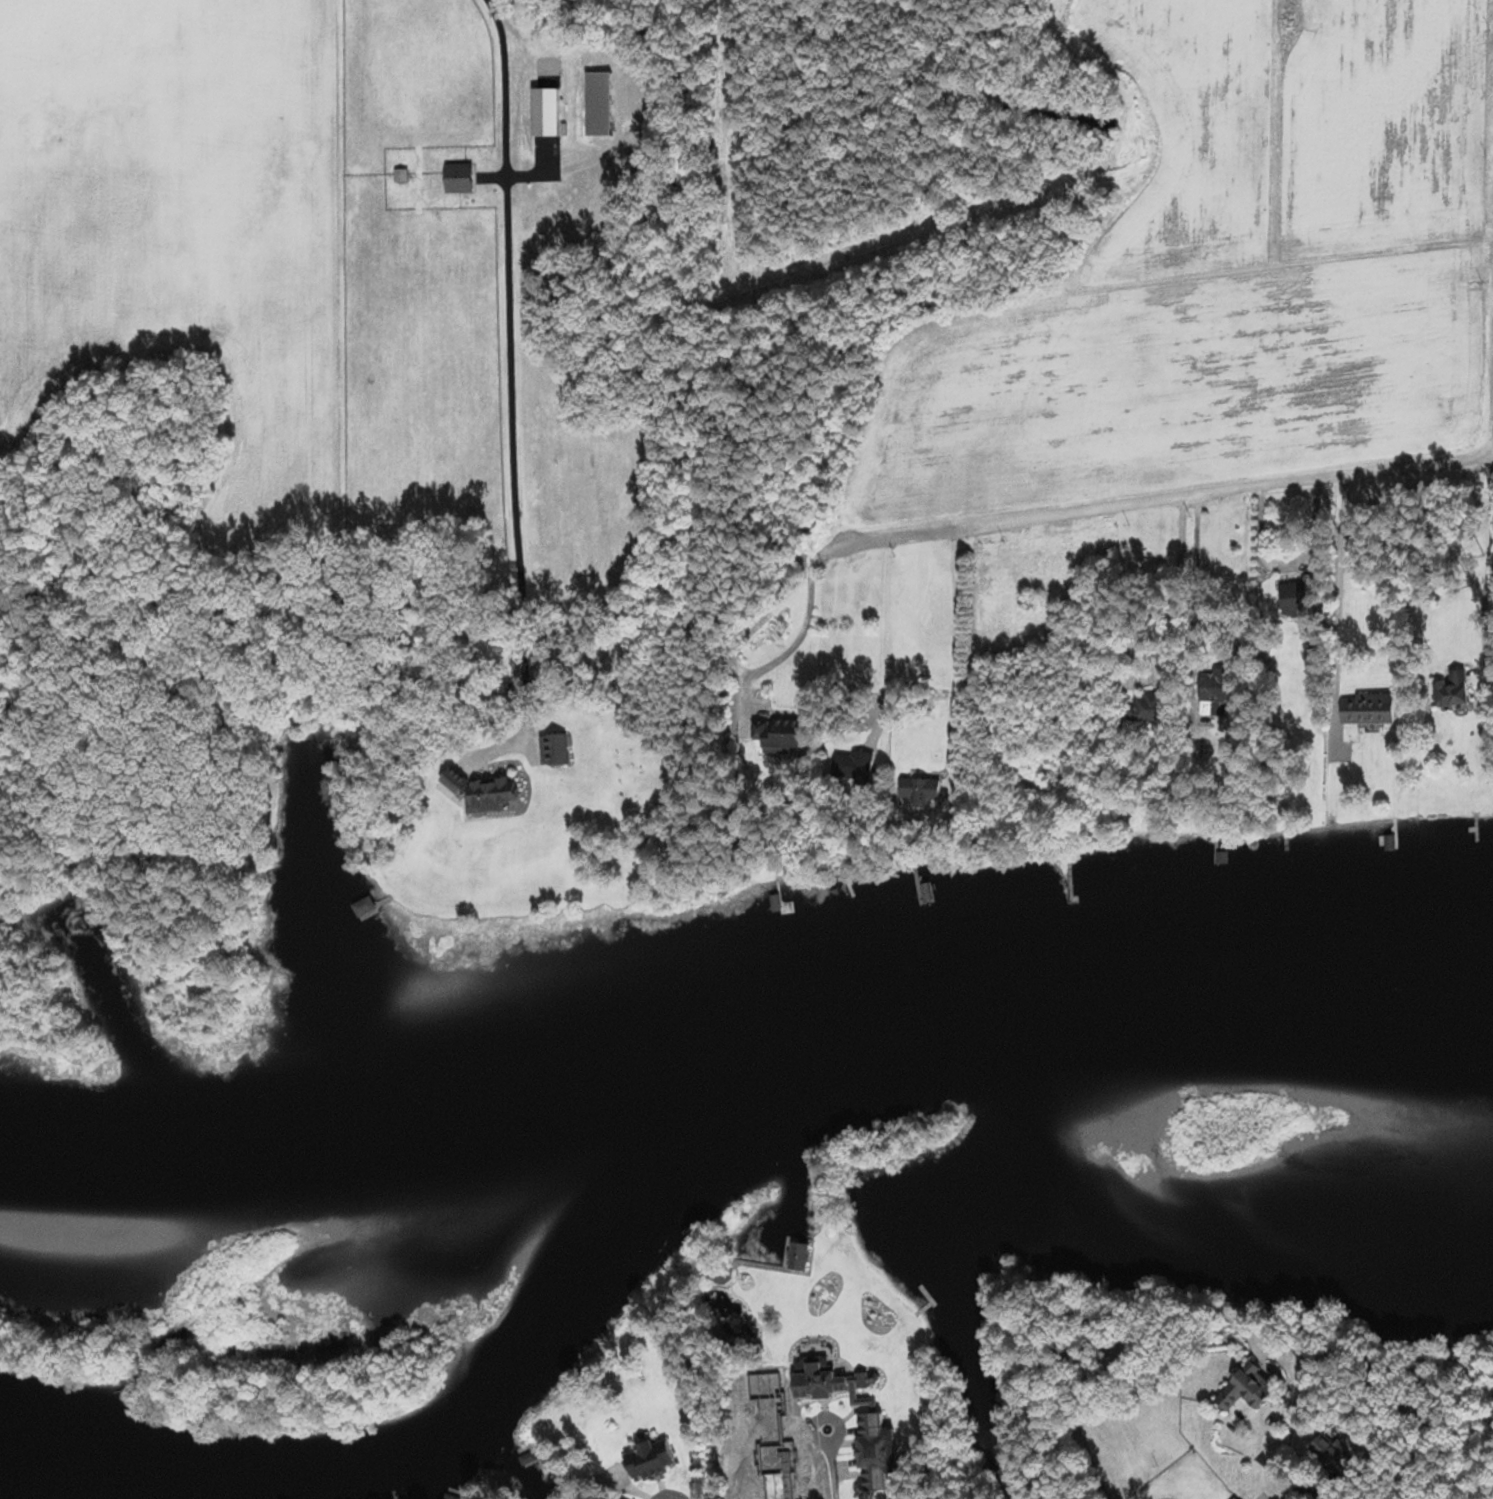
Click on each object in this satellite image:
building: (1289, 17)
building: (599, 104)
building: (401, 165)
building: (459, 178)
road: (1165, 497)
road: (1176, 587)
building: (1295, 600)
road: (1467, 600)
building: (1218, 691)
building: (1453, 691)
building: (1153, 709)
building: (1369, 709)
building: (780, 736)
building: (555, 750)
building: (854, 766)
building: (921, 792)
building: (485, 793)
building: (1391, 844)
building: (1223, 859)
building: (924, 895)
building: (776, 904)
building: (365, 908)
river: (1001, 989)
building: (799, 1255)
building: (722, 1275)
building: (1248, 1388)
building: (765, 1397)
building: (871, 1419)
road: (866, 1427)
building: (528, 1455)
building: (1334, 1456)
building: (652, 1459)
building: (774, 1469)
river: (345, 1482)
building: (452, 1496)
building: (1236, 1497)

